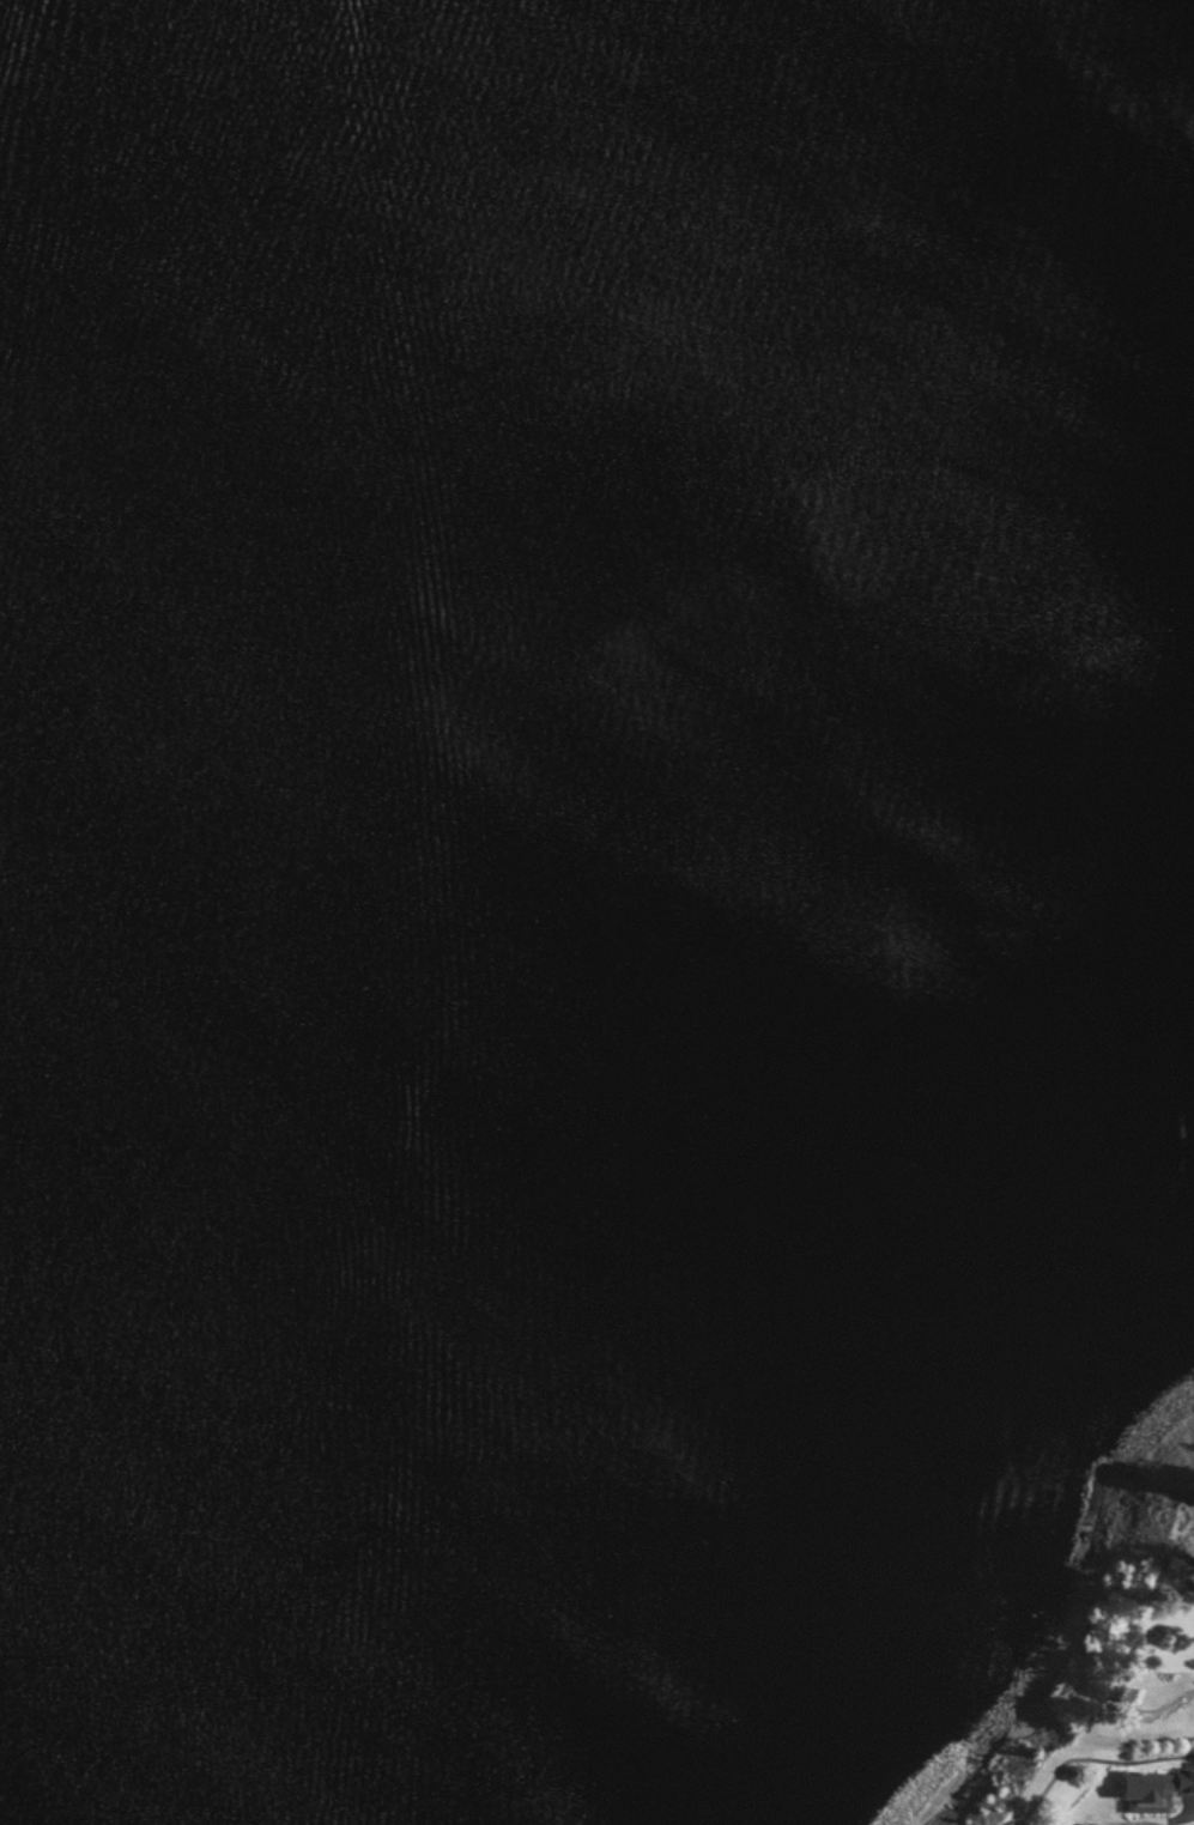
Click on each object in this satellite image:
building: (1148, 1788)

